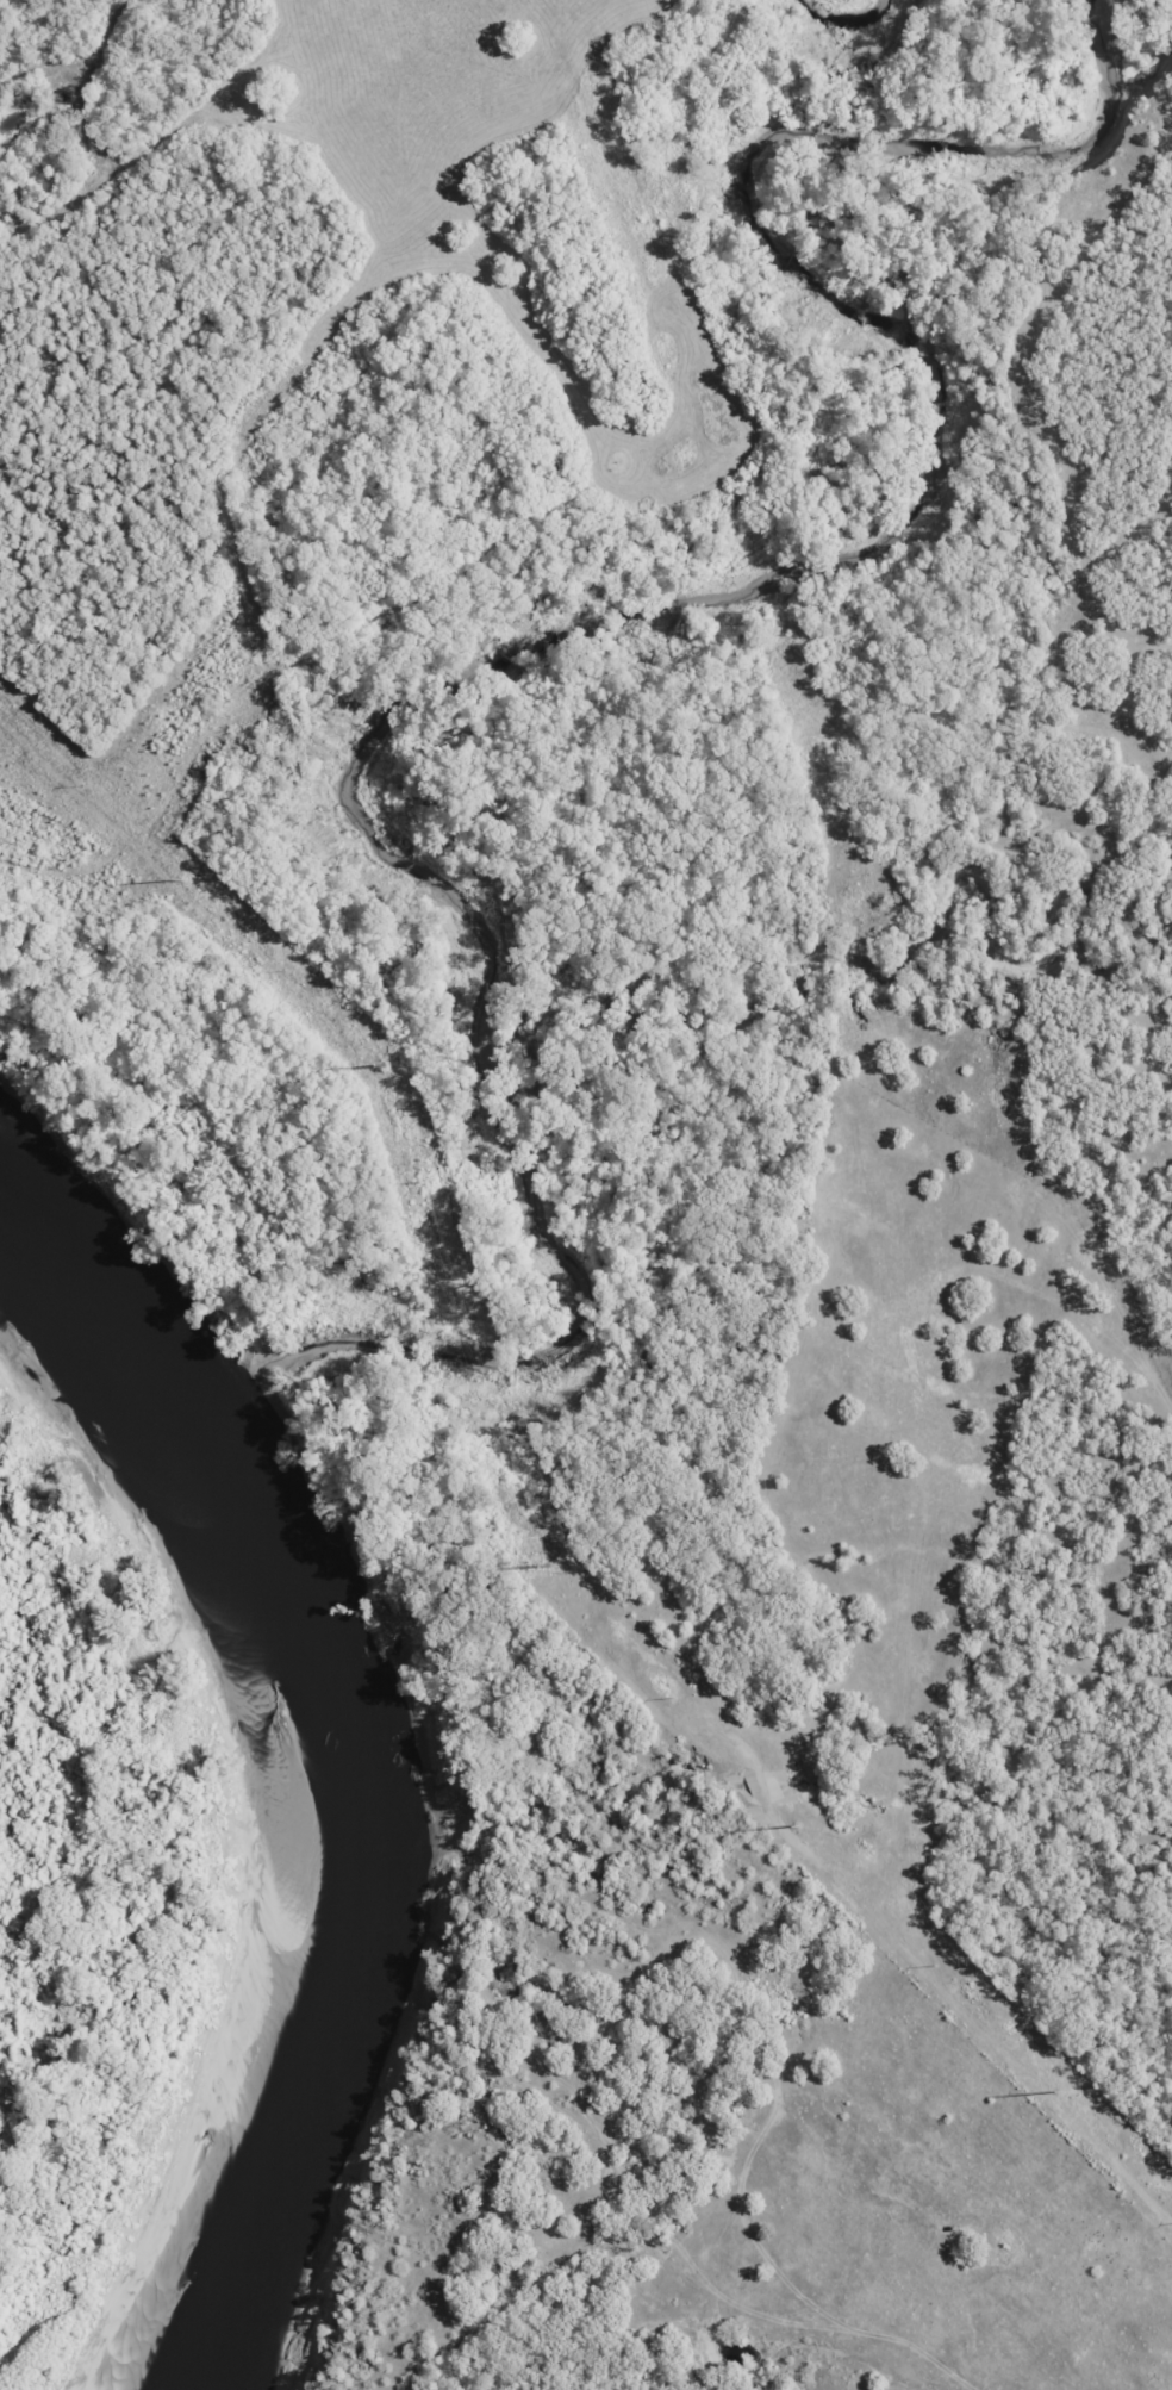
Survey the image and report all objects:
power tower: (180, 879)
power tower: (378, 1062)
power tower: (543, 1566)
river: (326, 1788)
power tower: (798, 1825)
power tower: (1054, 2093)

